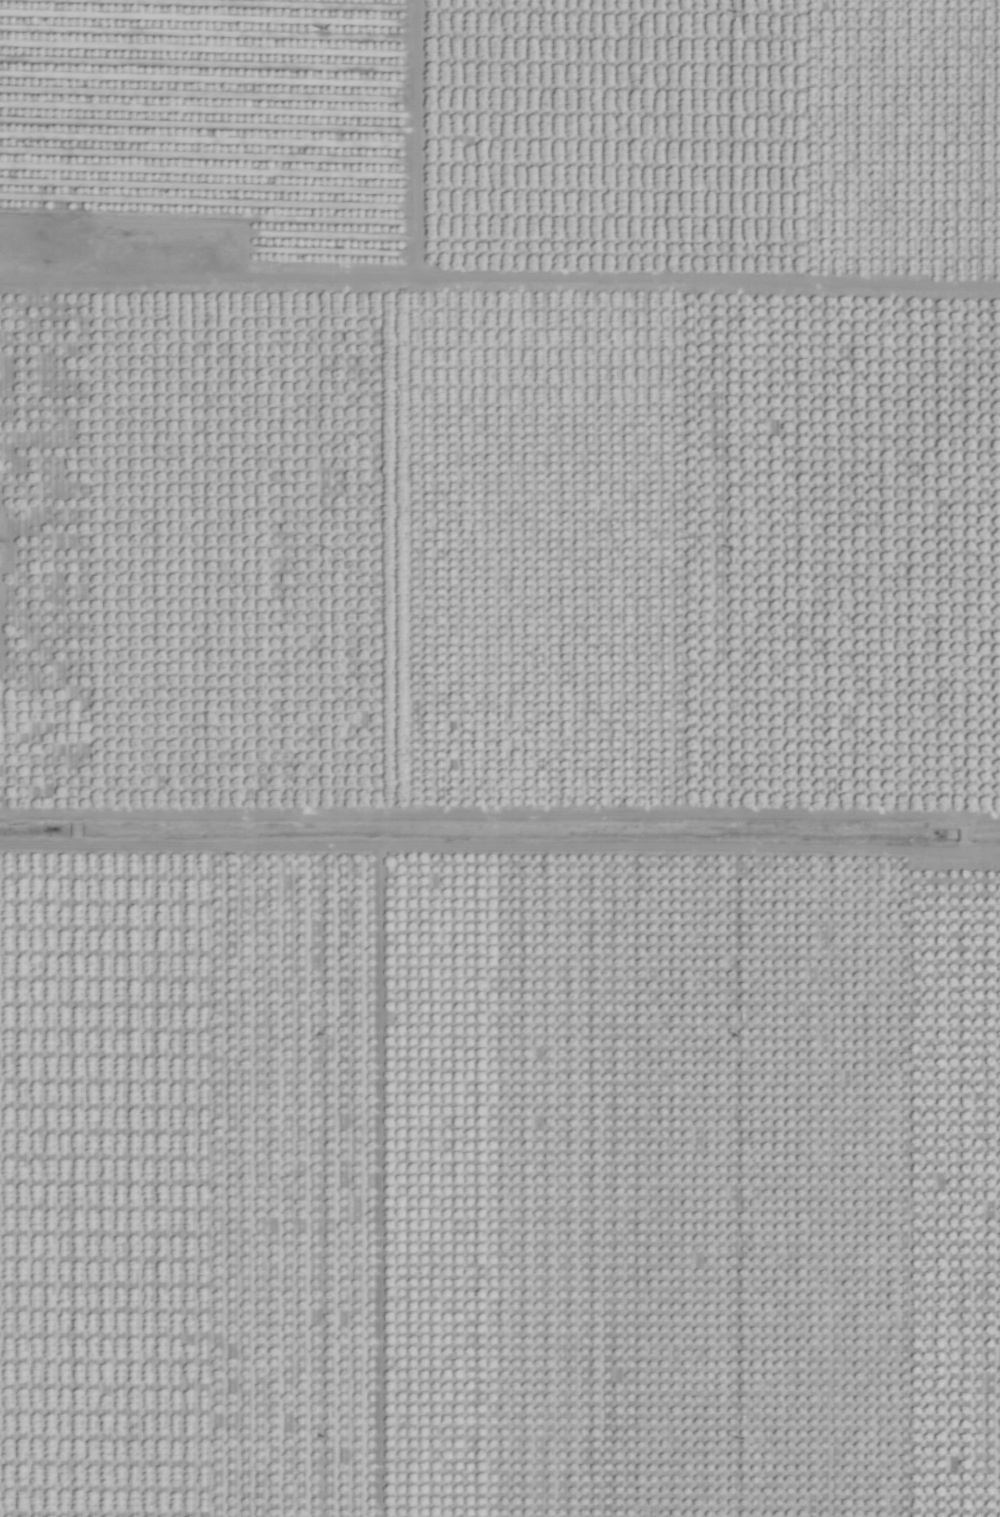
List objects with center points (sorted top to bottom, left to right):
building: (2, 554)
crop: (500, 758)

